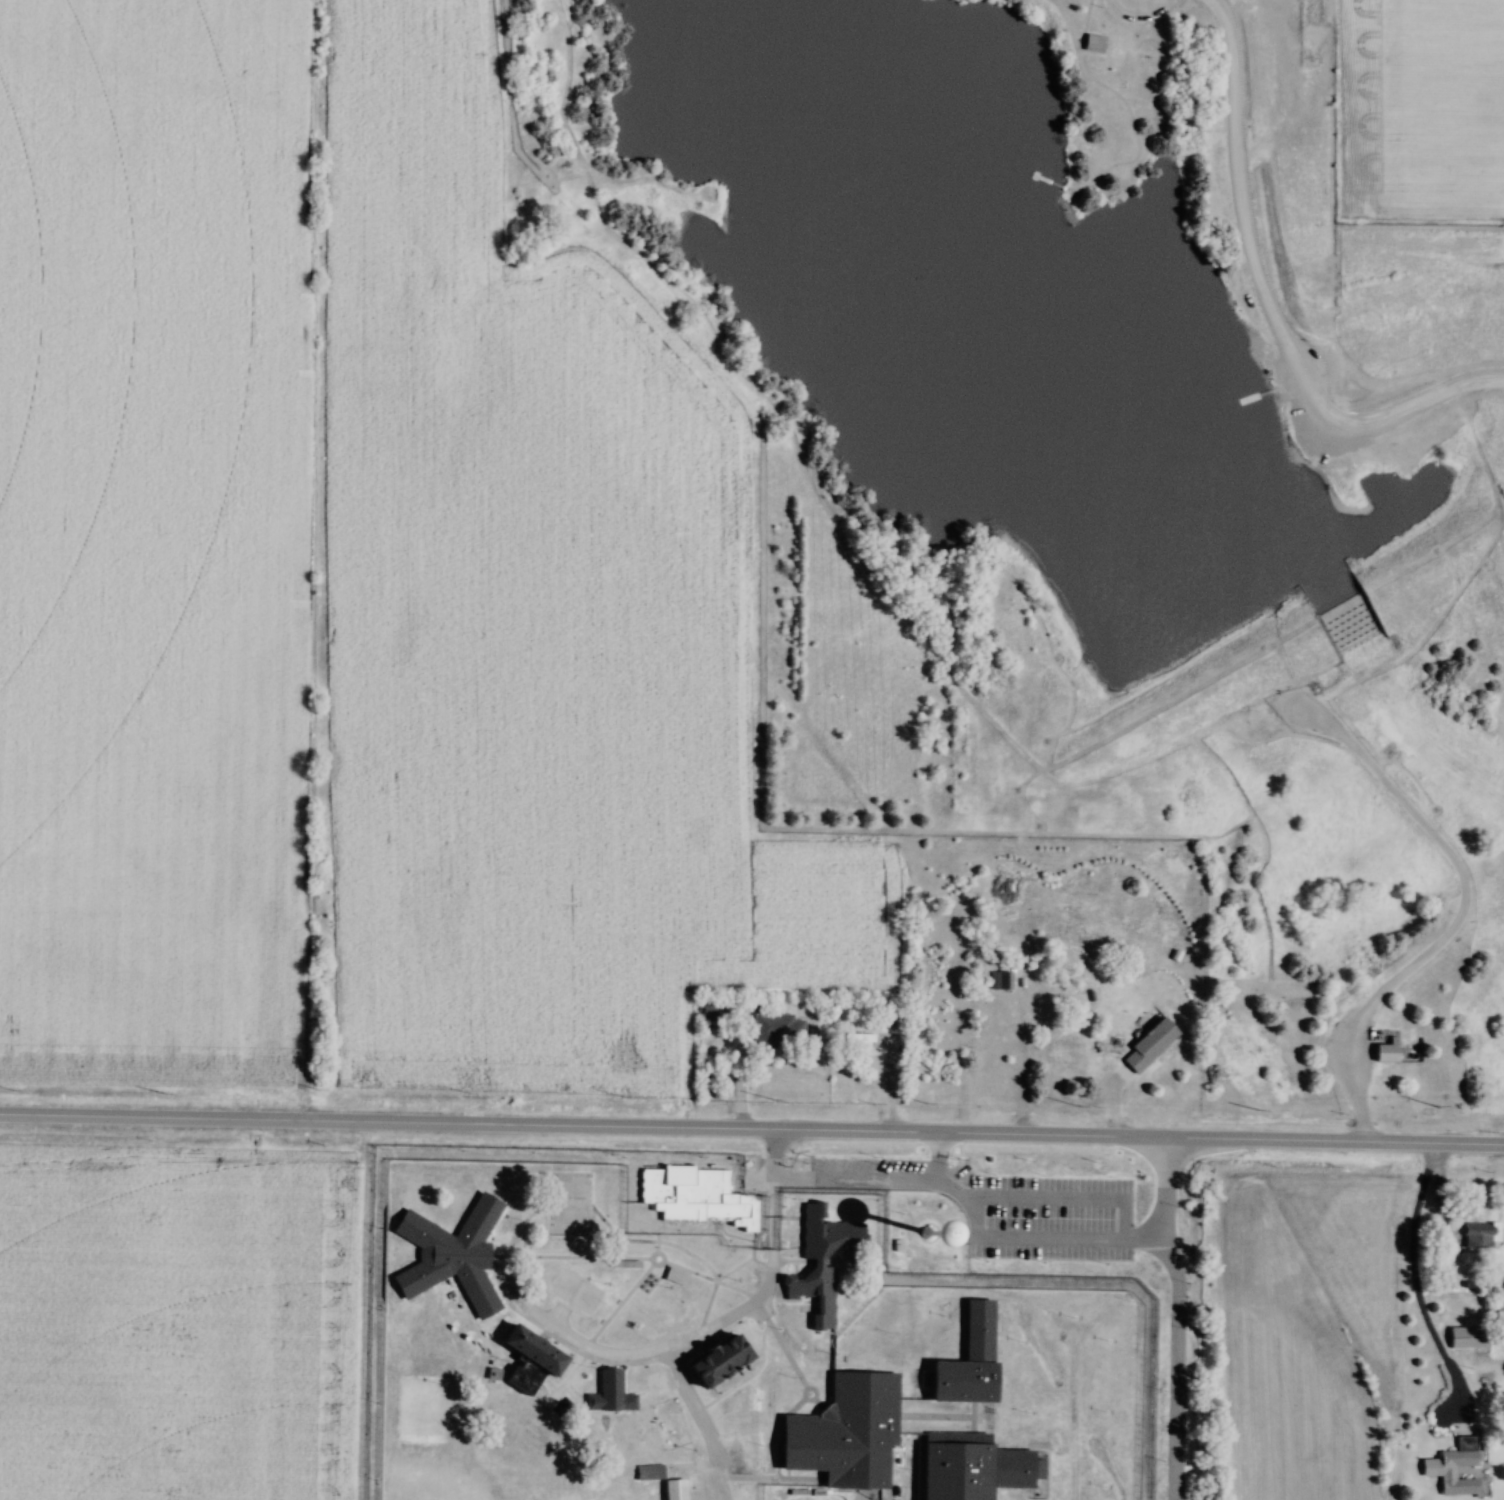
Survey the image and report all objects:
building: (1102, 32)
road: (1258, 311)
crop: (149, 538)
road: (1453, 917)
building: (998, 981)
building: (714, 1011)
building: (775, 1030)
building: (1147, 1045)
building: (1385, 1052)
road: (385, 1109)
road: (1137, 1127)
building: (697, 1198)
road: (969, 1212)
water tower: (917, 1236)
building: (916, 1237)
building: (1475, 1241)
building: (449, 1256)
building: (818, 1261)
road: (1412, 1280)
road: (1175, 1312)
road: (726, 1317)
crop: (171, 1325)
building: (1464, 1338)
building: (530, 1351)
building: (967, 1361)
building: (716, 1362)
building: (521, 1380)
building: (653, 1386)
building: (611, 1393)
road: (700, 1422)
building: (530, 1430)
building: (844, 1433)
building: (969, 1467)
building: (1452, 1468)
building: (647, 1473)
building: (673, 1489)

